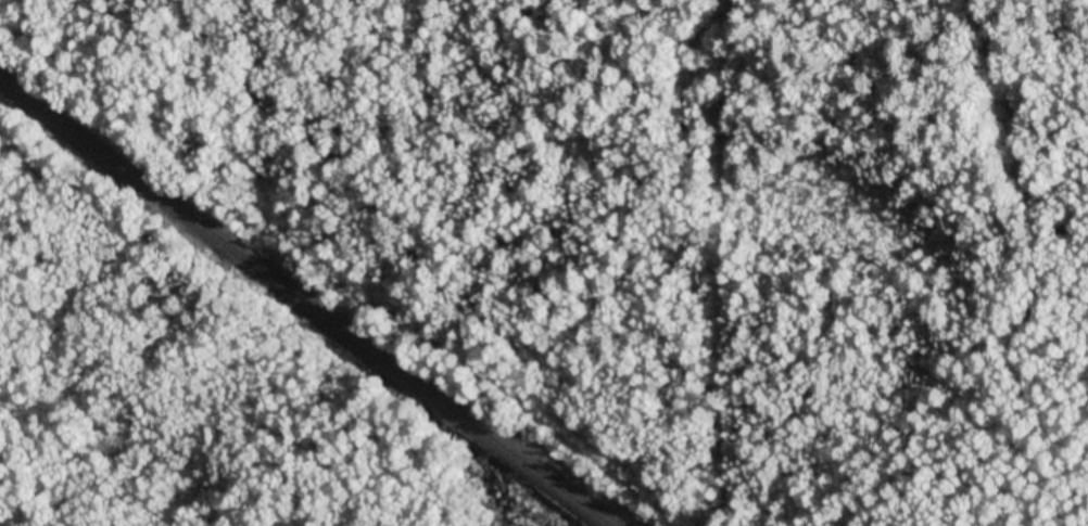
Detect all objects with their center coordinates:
railway: (303, 302)

